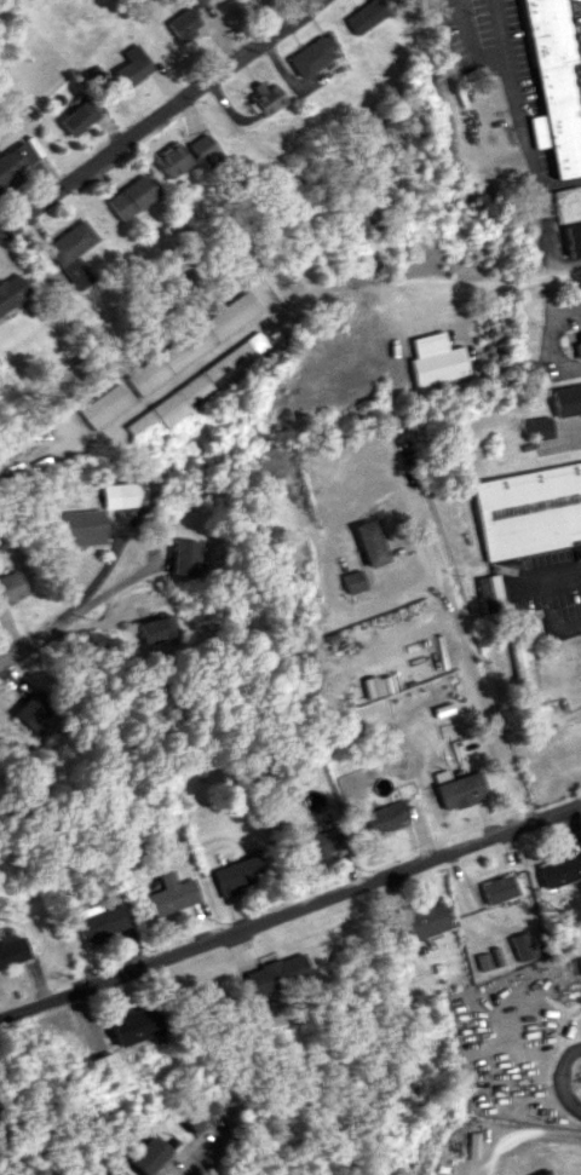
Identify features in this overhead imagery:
building: (363, 16)
building: (184, 21)
building: (311, 53)
building: (132, 65)
road: (508, 74)
building: (551, 85)
building: (264, 98)
building: (79, 116)
road: (166, 129)
building: (203, 149)
building: (13, 161)
building: (171, 161)
building: (130, 196)
building: (573, 237)
building: (69, 253)
road: (490, 287)
building: (10, 290)
road: (547, 335)
building: (188, 342)
road: (225, 344)
building: (577, 344)
building: (438, 364)
building: (566, 398)
building: (100, 404)
road: (573, 425)
building: (540, 426)
building: (121, 495)
building: (528, 509)
building: (77, 528)
building: (369, 542)
building: (184, 557)
building: (351, 581)
road: (92, 583)
building: (10, 586)
building: (489, 592)
building: (156, 628)
road: (455, 630)
road: (38, 643)
building: (518, 656)
building: (33, 708)
building: (464, 789)
building: (386, 817)
building: (321, 841)
building: (560, 869)
building: (235, 874)
building: (499, 888)
building: (168, 894)
road: (289, 904)
building: (97, 920)
building: (422, 920)
building: (522, 945)
building: (11, 951)
building: (481, 961)
building: (579, 964)
building: (274, 973)
building: (131, 1024)
building: (100, 1070)
road: (558, 1078)
building: (194, 1111)
road: (213, 1154)
building: (145, 1156)
building: (545, 1173)
building: (110, 1174)

